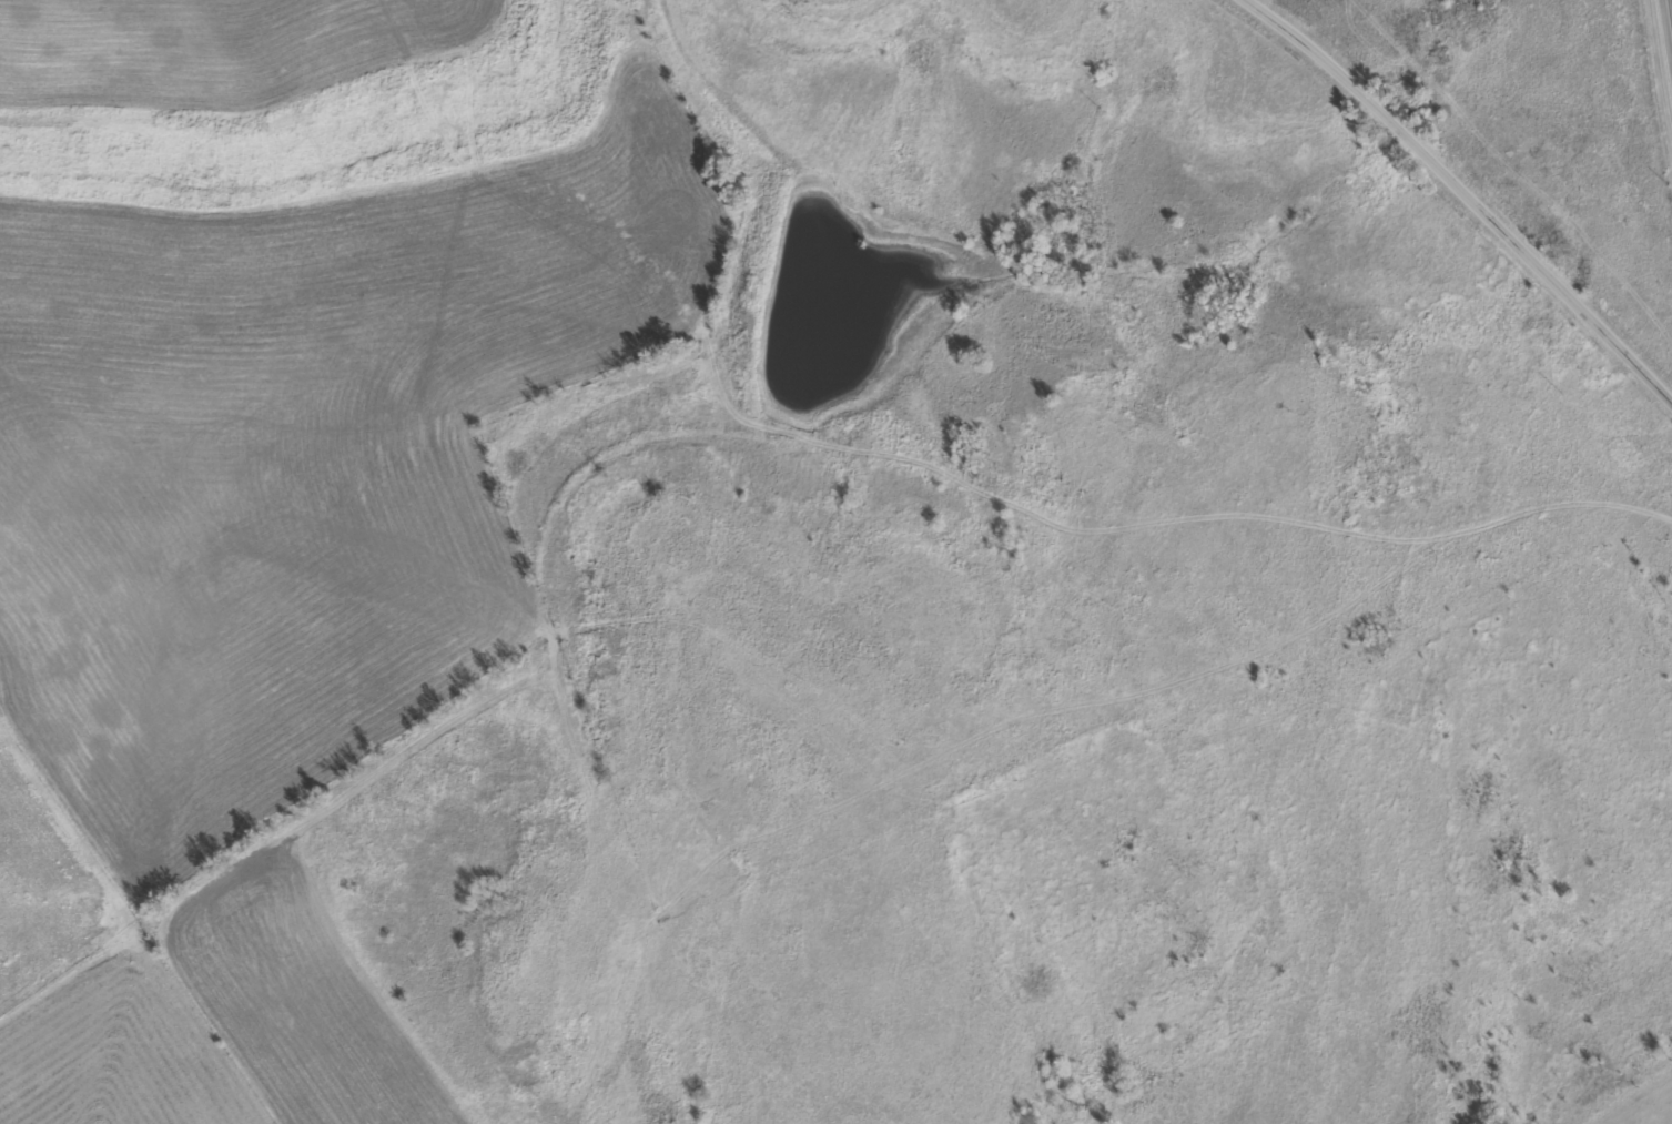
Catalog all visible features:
road: (1670, 12)
road: (1461, 200)

